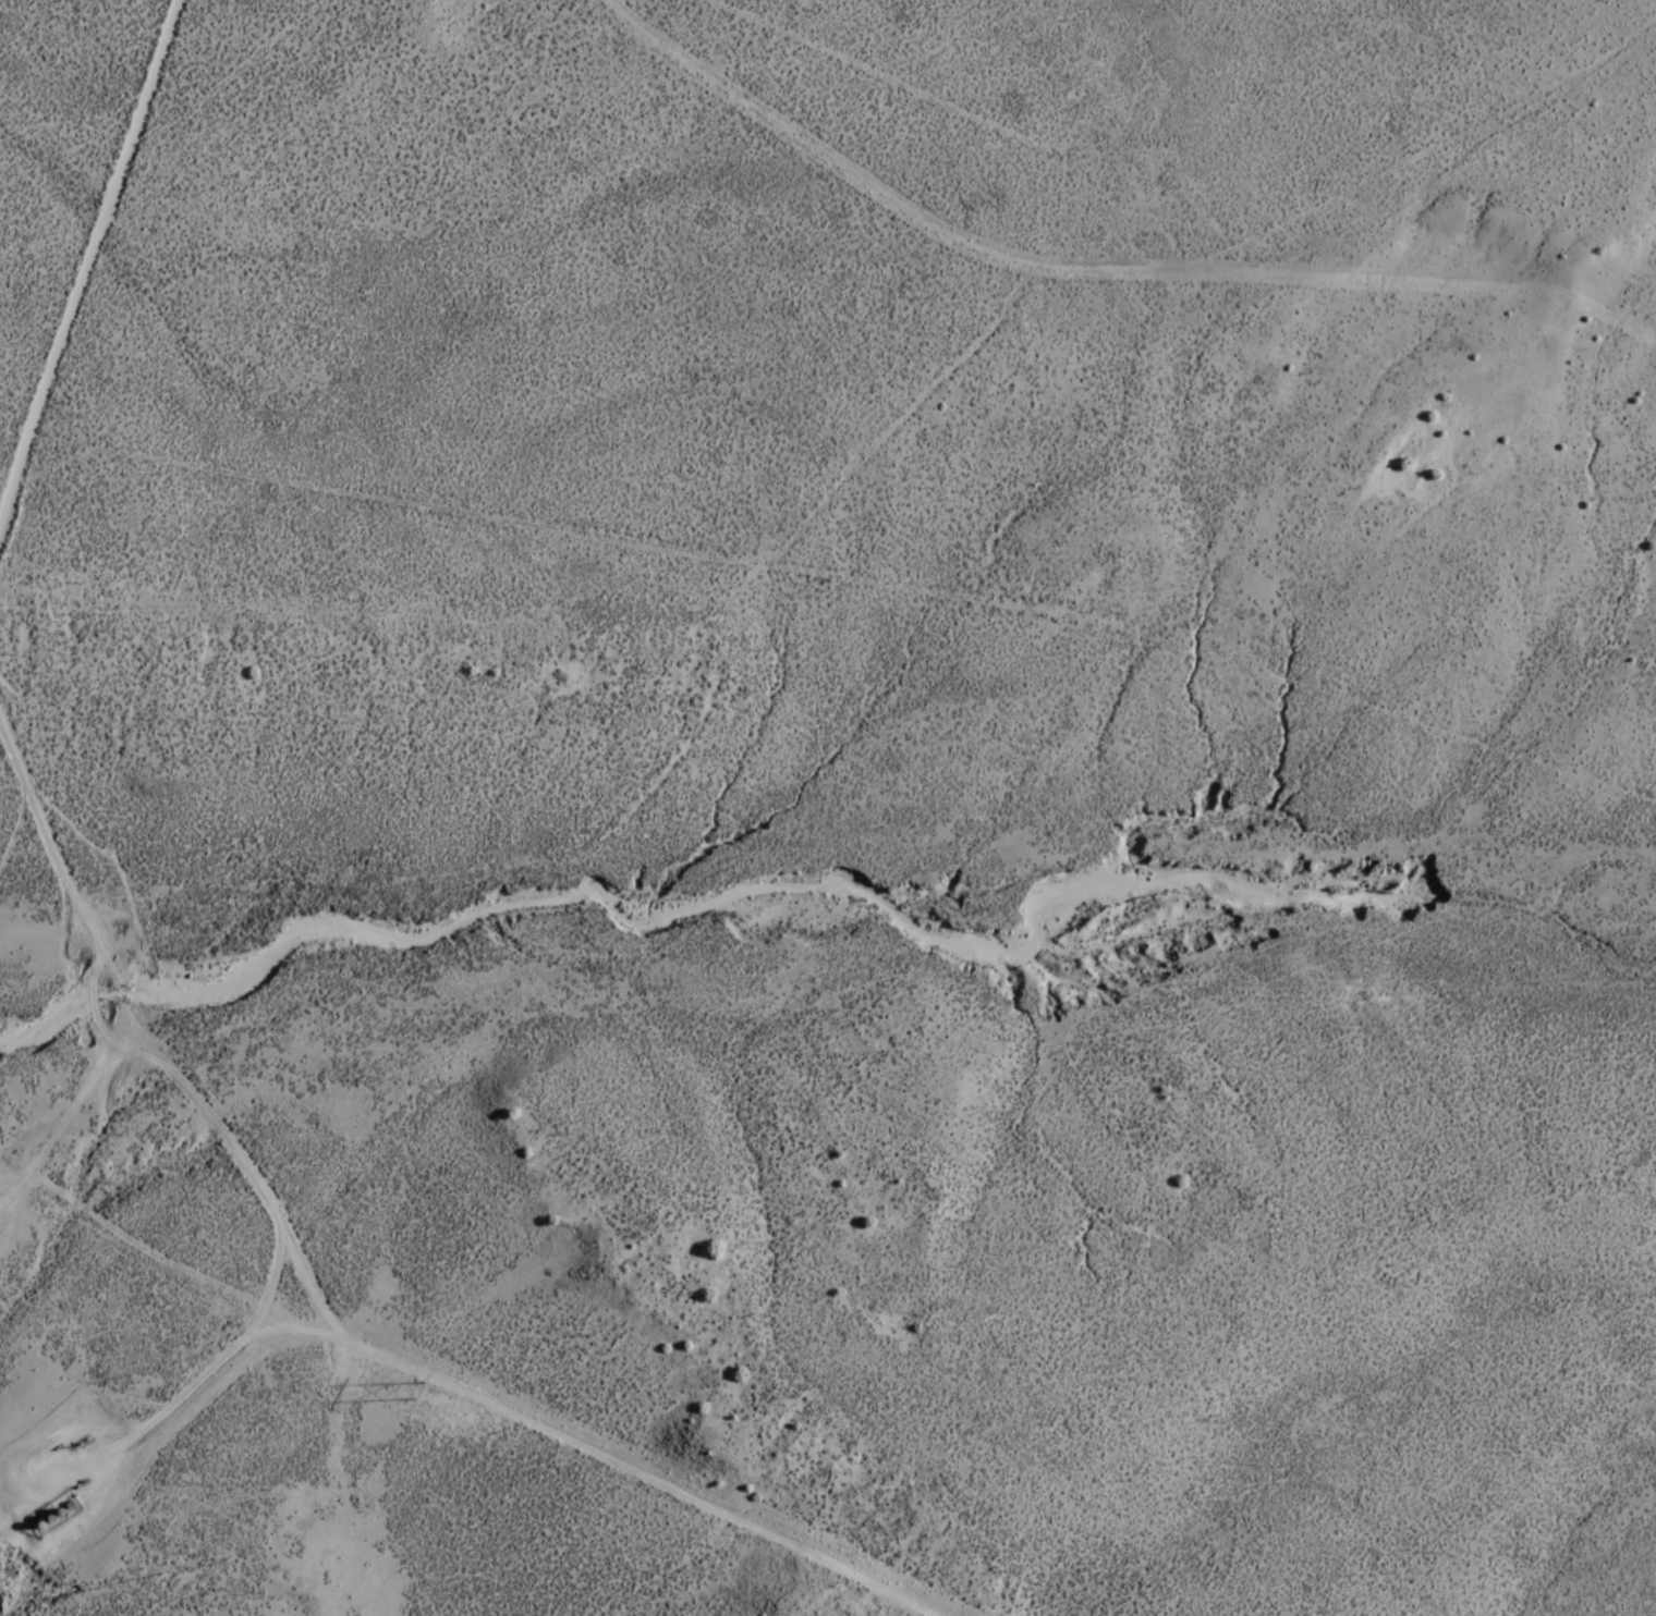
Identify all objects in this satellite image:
road: (61, 157)
power tower: (407, 1389)

